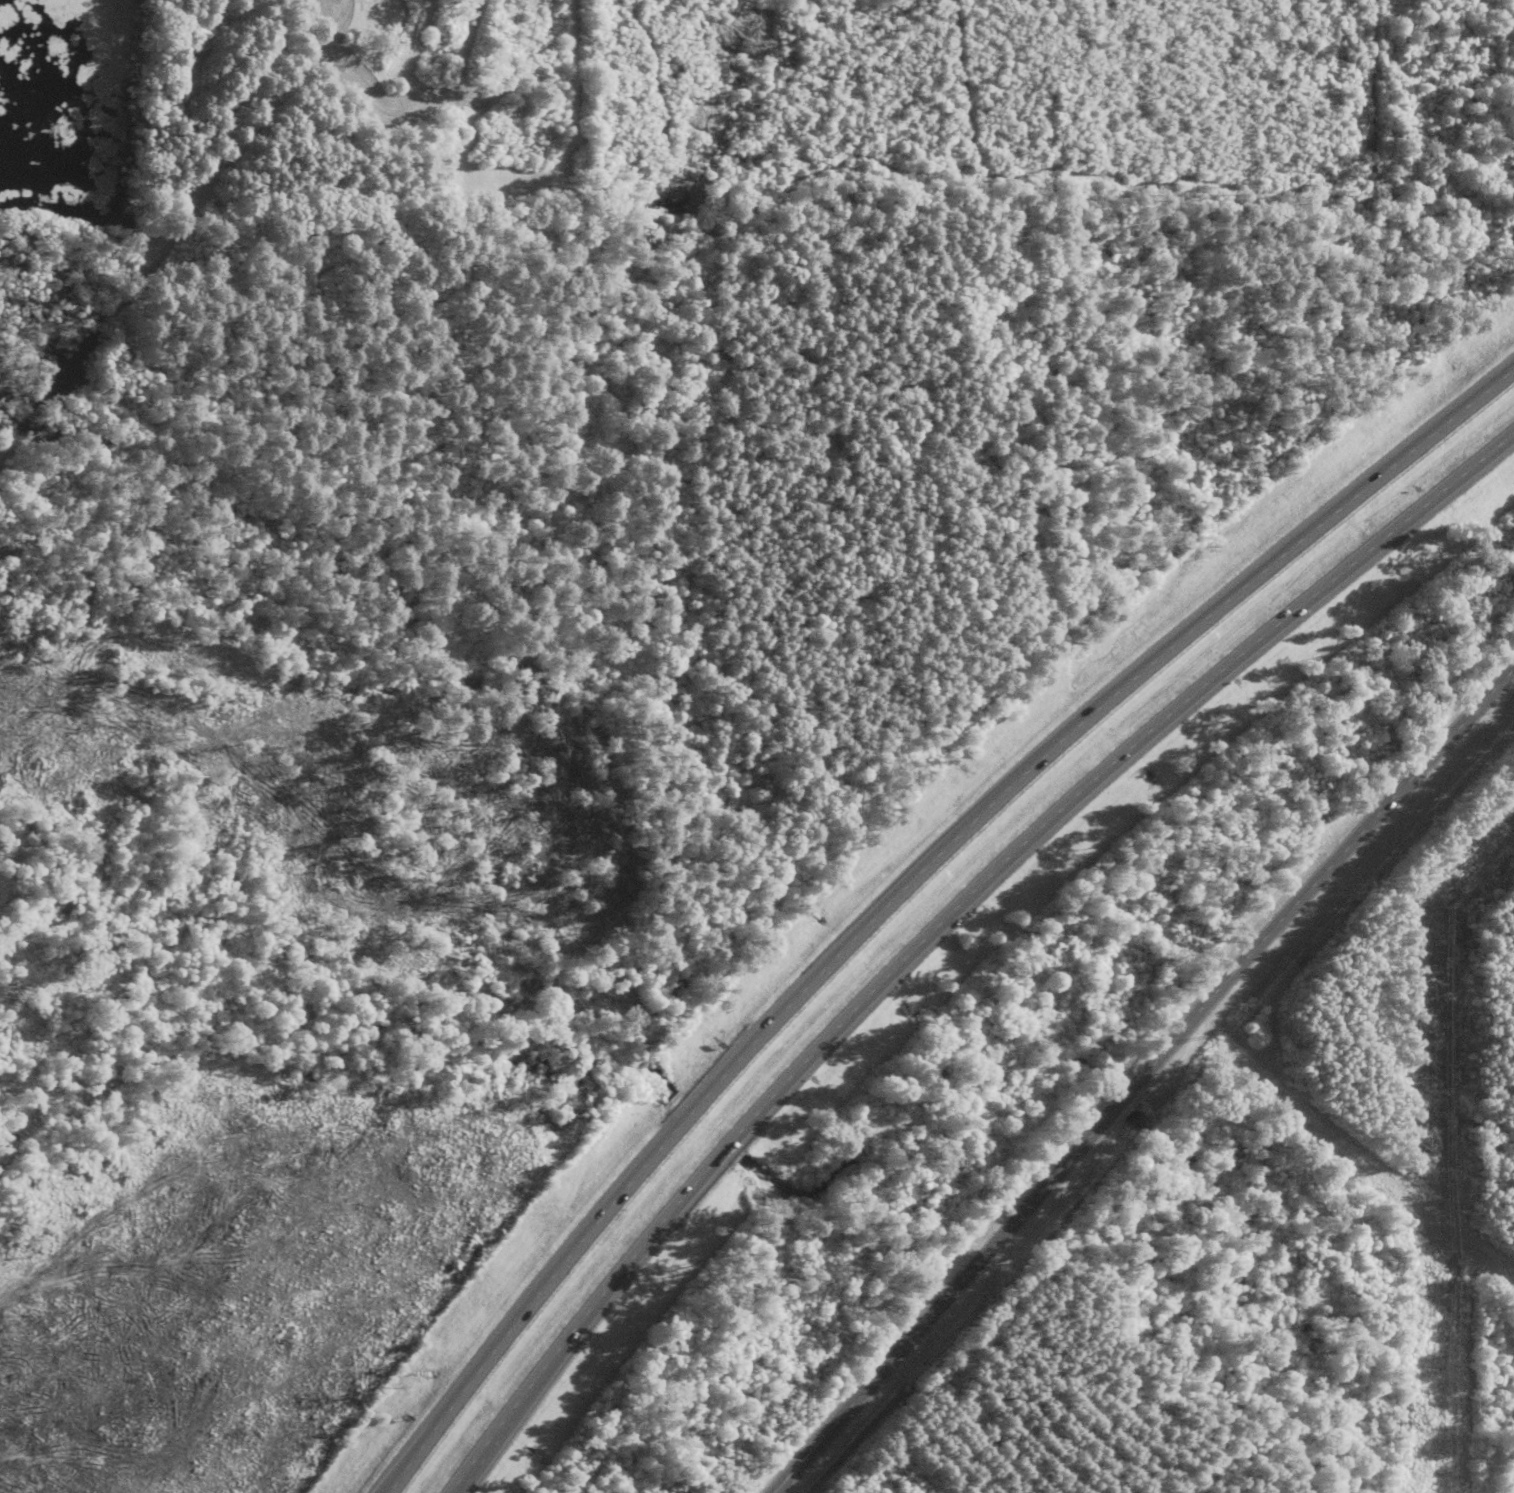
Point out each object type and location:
road: (320, 506)
road: (908, 882)
road: (944, 923)
road: (1244, 954)
road: (877, 1374)
road: (390, 1490)

